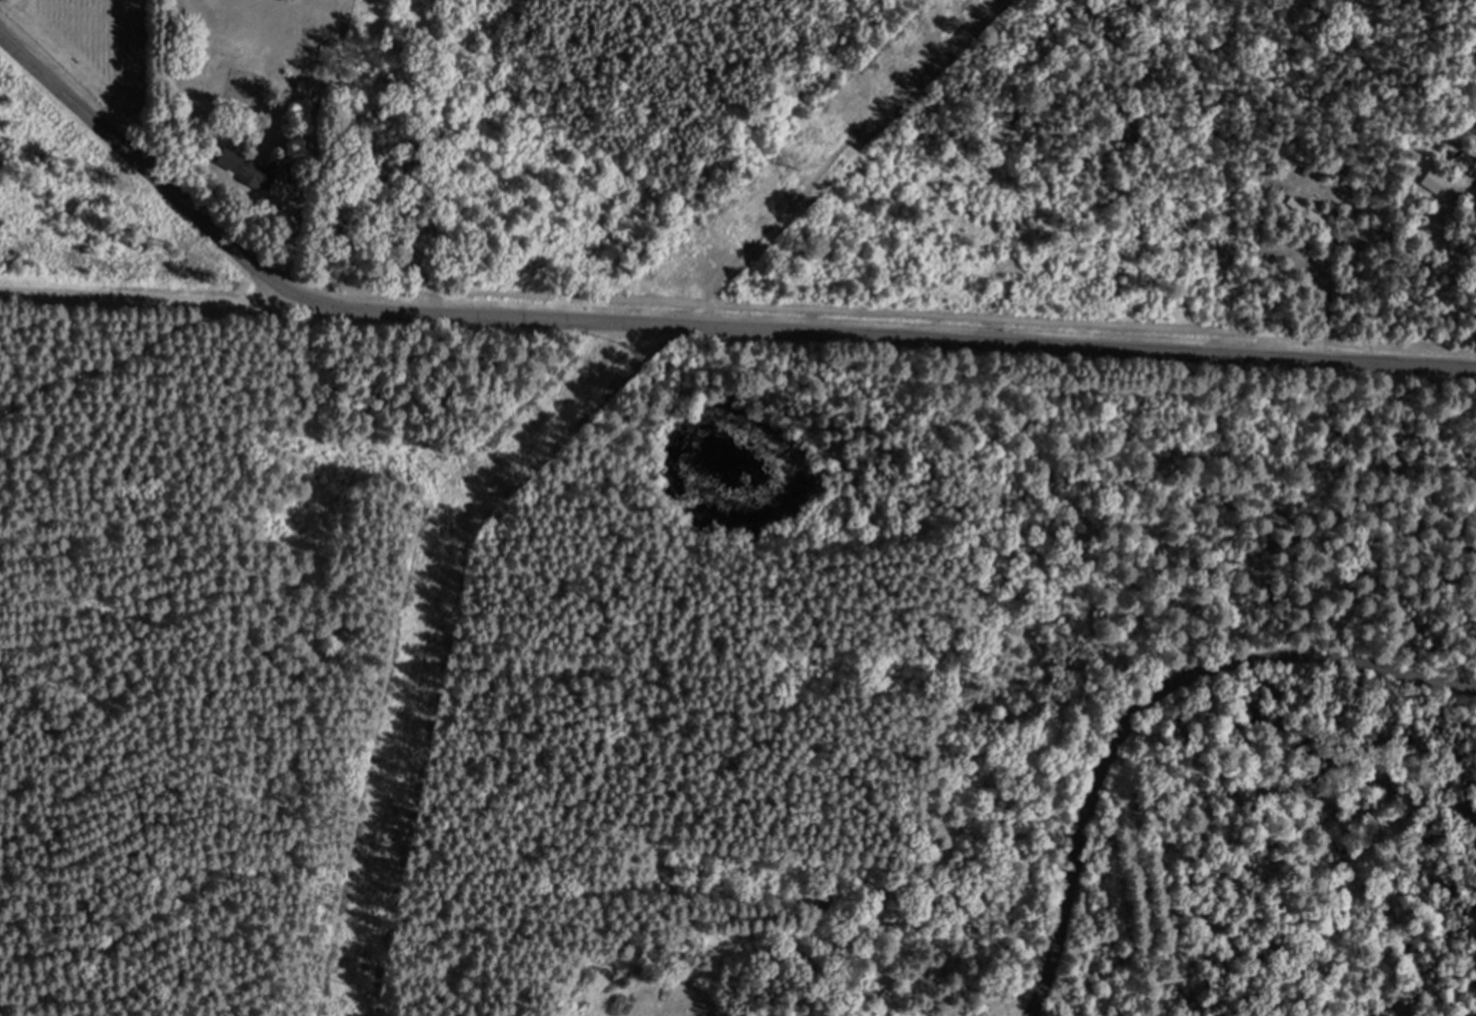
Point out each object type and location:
road: (834, 155)
power tower: (805, 167)
building: (263, 174)
building: (1308, 212)
road: (148, 297)
road: (687, 323)
power tower: (627, 342)
power tower: (463, 510)
park: (981, 695)
road: (1149, 705)
power tower: (407, 748)
power tower: (363, 986)

